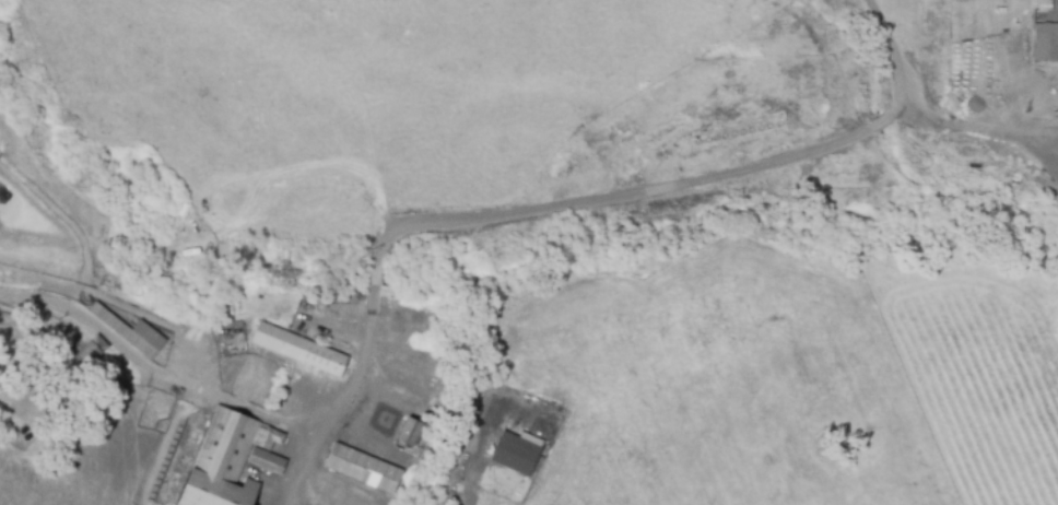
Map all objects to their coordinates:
road: (892, 35)
building: (1046, 42)
road: (972, 129)
road: (655, 202)
building: (91, 350)
building: (298, 350)
road: (153, 371)
road: (349, 388)
building: (410, 433)
building: (516, 453)
building: (230, 459)
building: (362, 469)
road: (468, 483)

